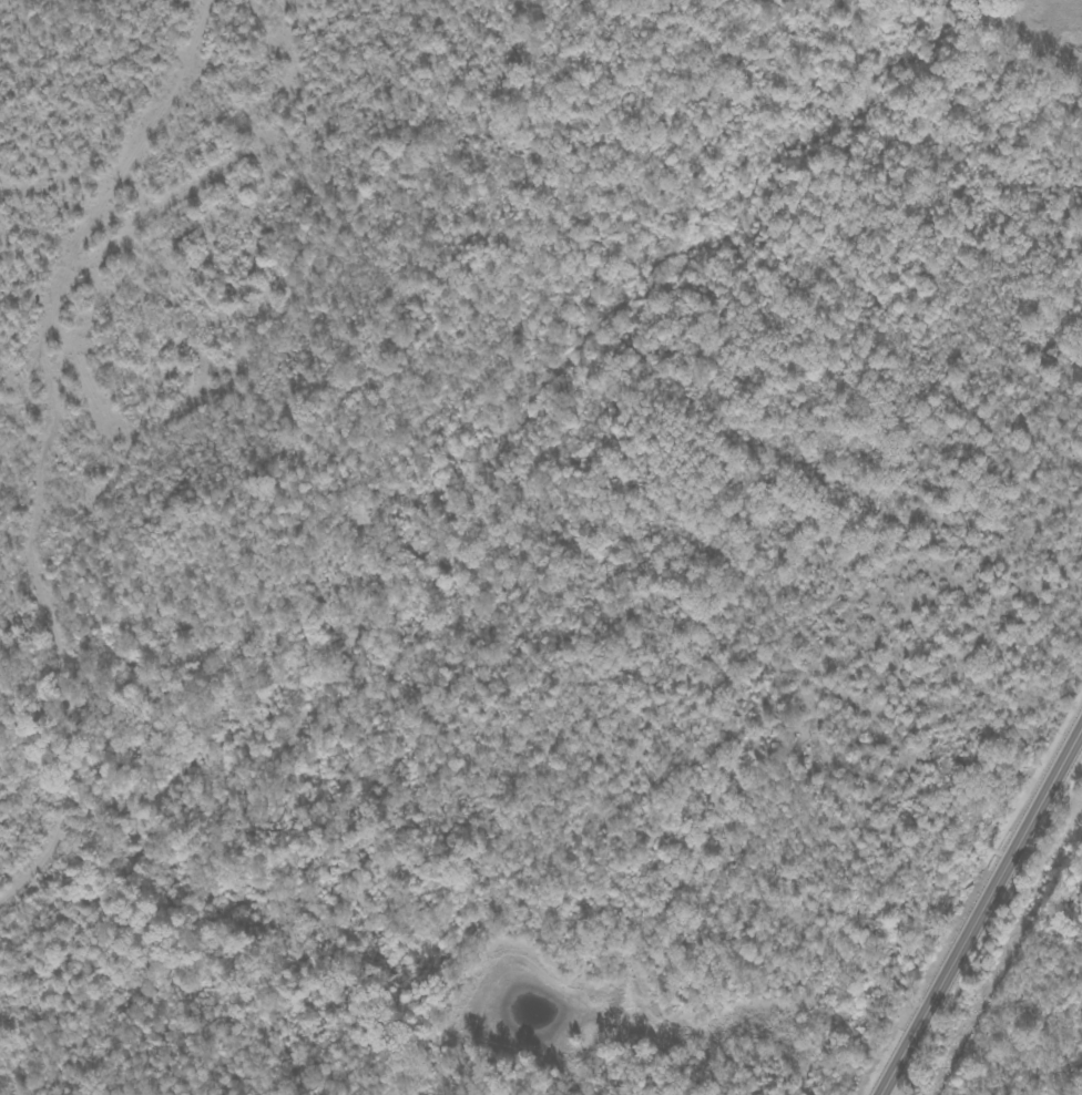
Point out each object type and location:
road: (773, 347)
road: (980, 912)

